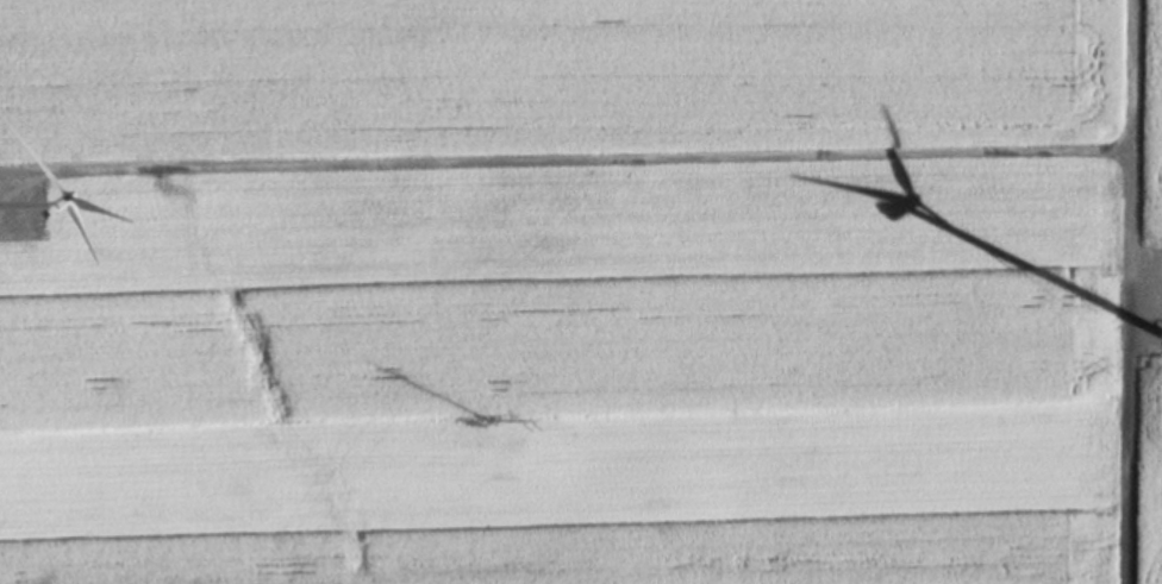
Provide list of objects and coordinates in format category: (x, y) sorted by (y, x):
road: (558, 165)
road: (6, 190)
road: (1120, 291)
wind turbine: (1161, 338)
power tower: (479, 427)

